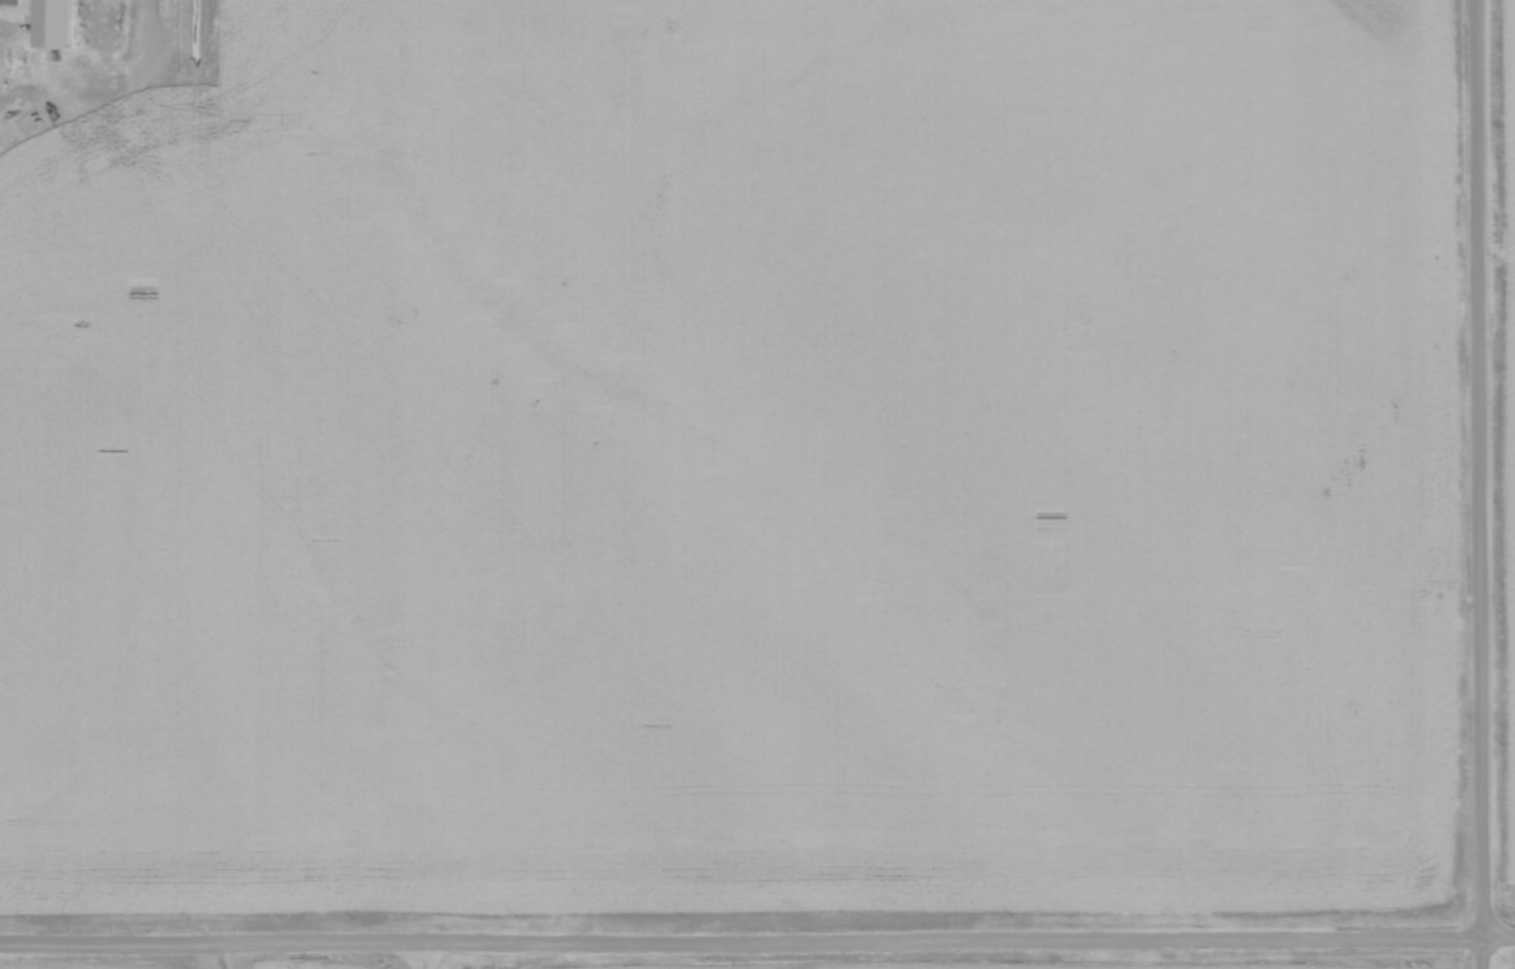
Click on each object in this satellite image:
building: (7, 1)
road: (1475, 484)
road: (757, 943)
road: (424, 956)

